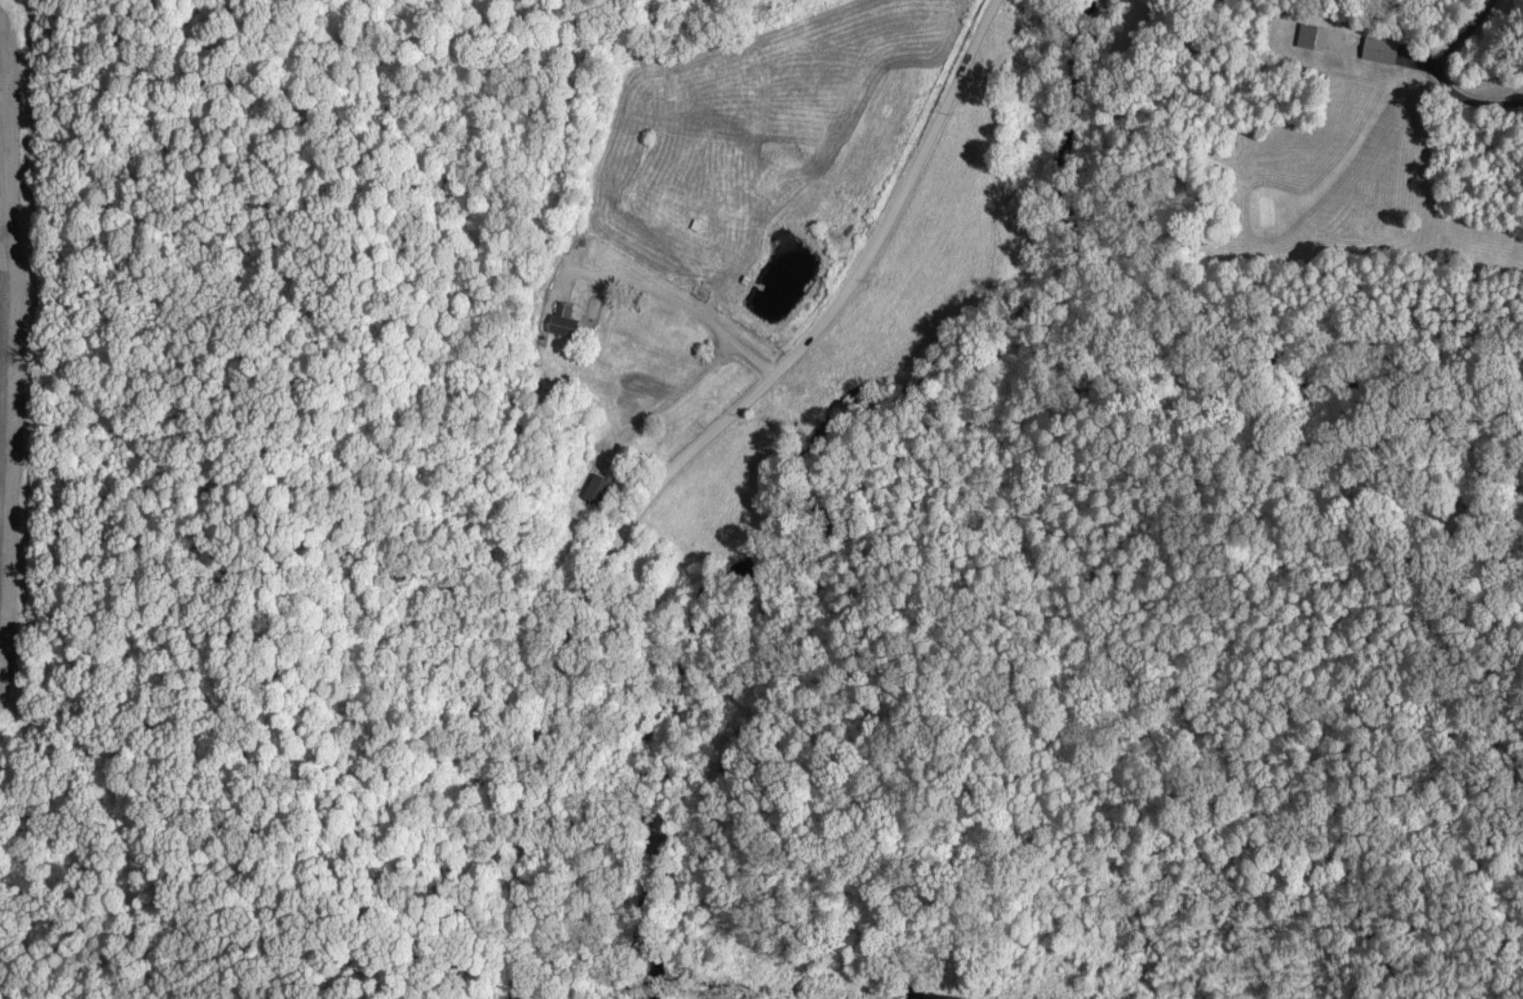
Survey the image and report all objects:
building: (1312, 36)
building: (1380, 49)
road: (1446, 77)
building: (561, 321)
road: (675, 465)
building: (600, 489)

